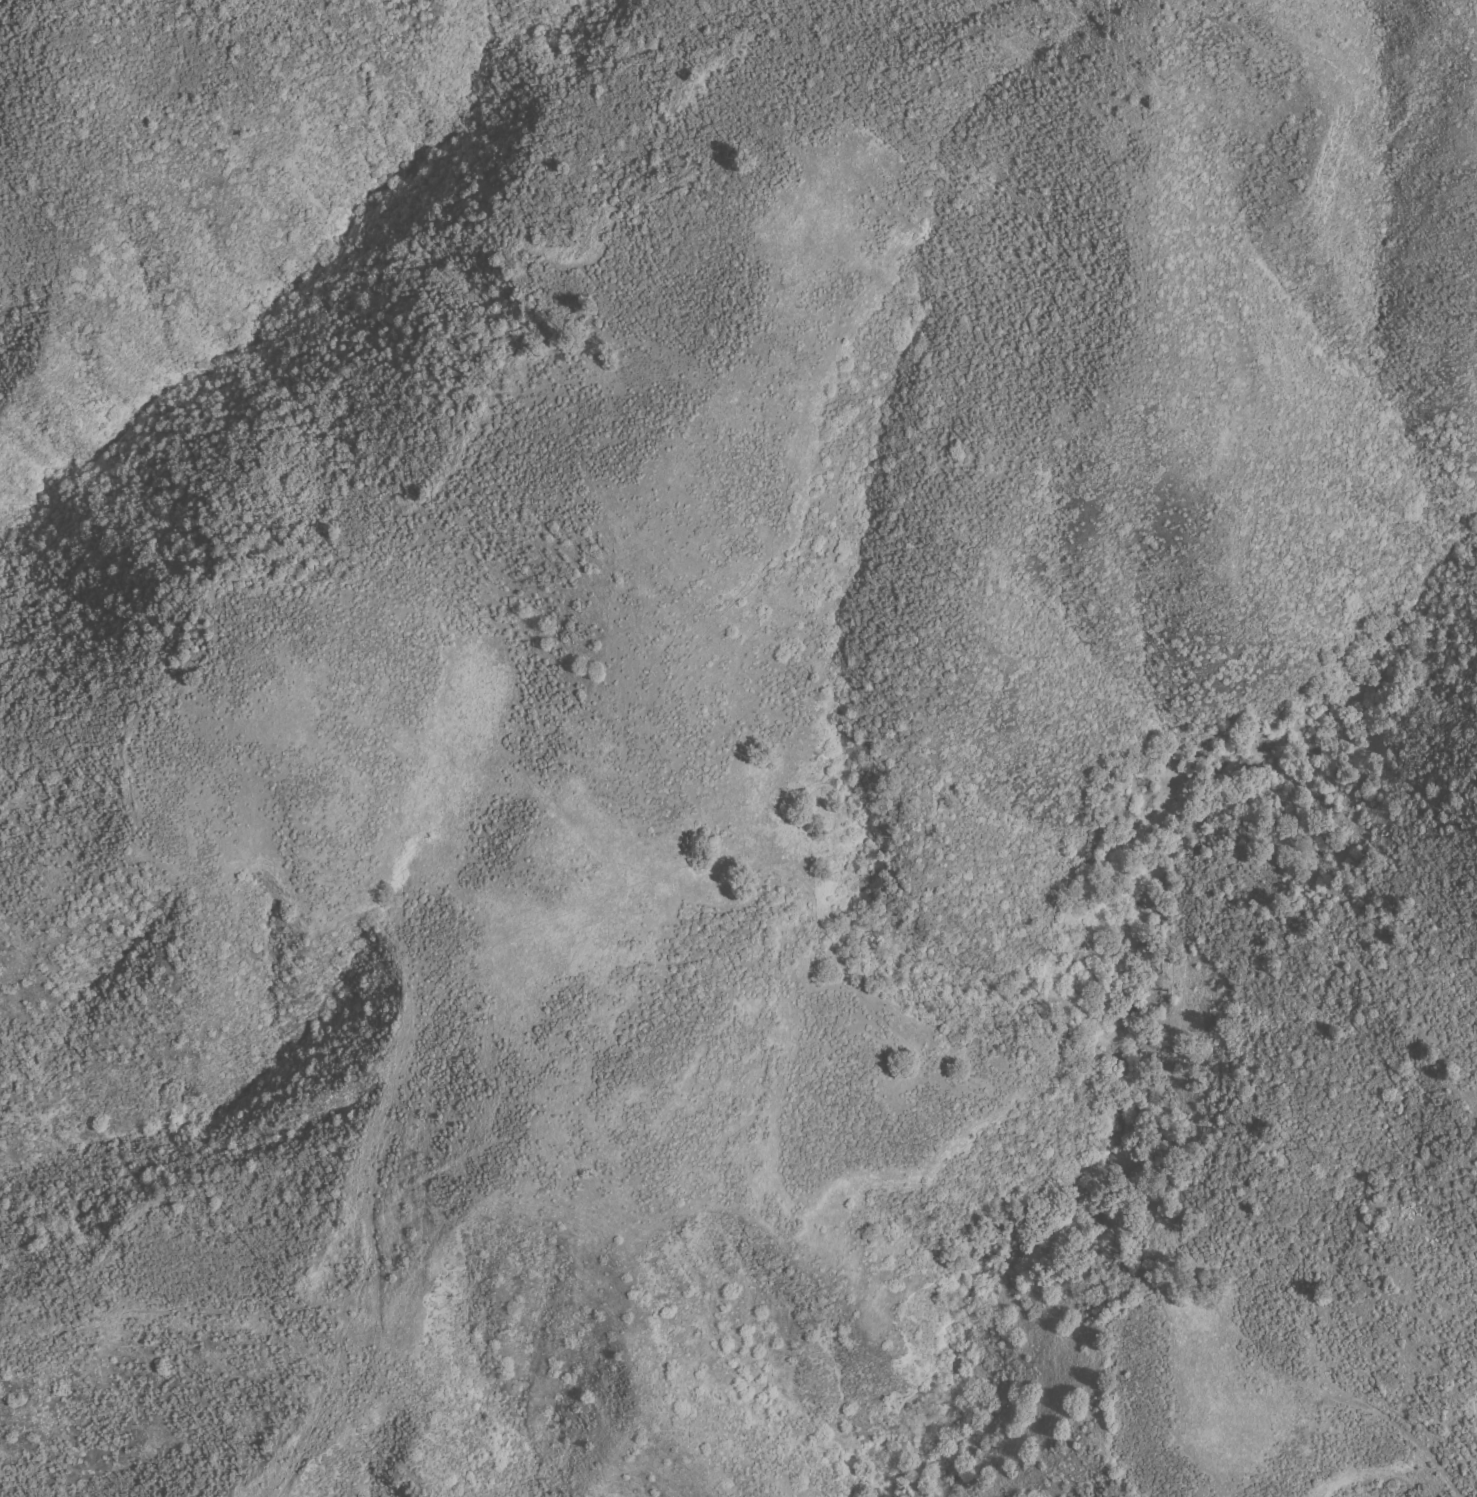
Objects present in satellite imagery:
road: (1415, 1444)

